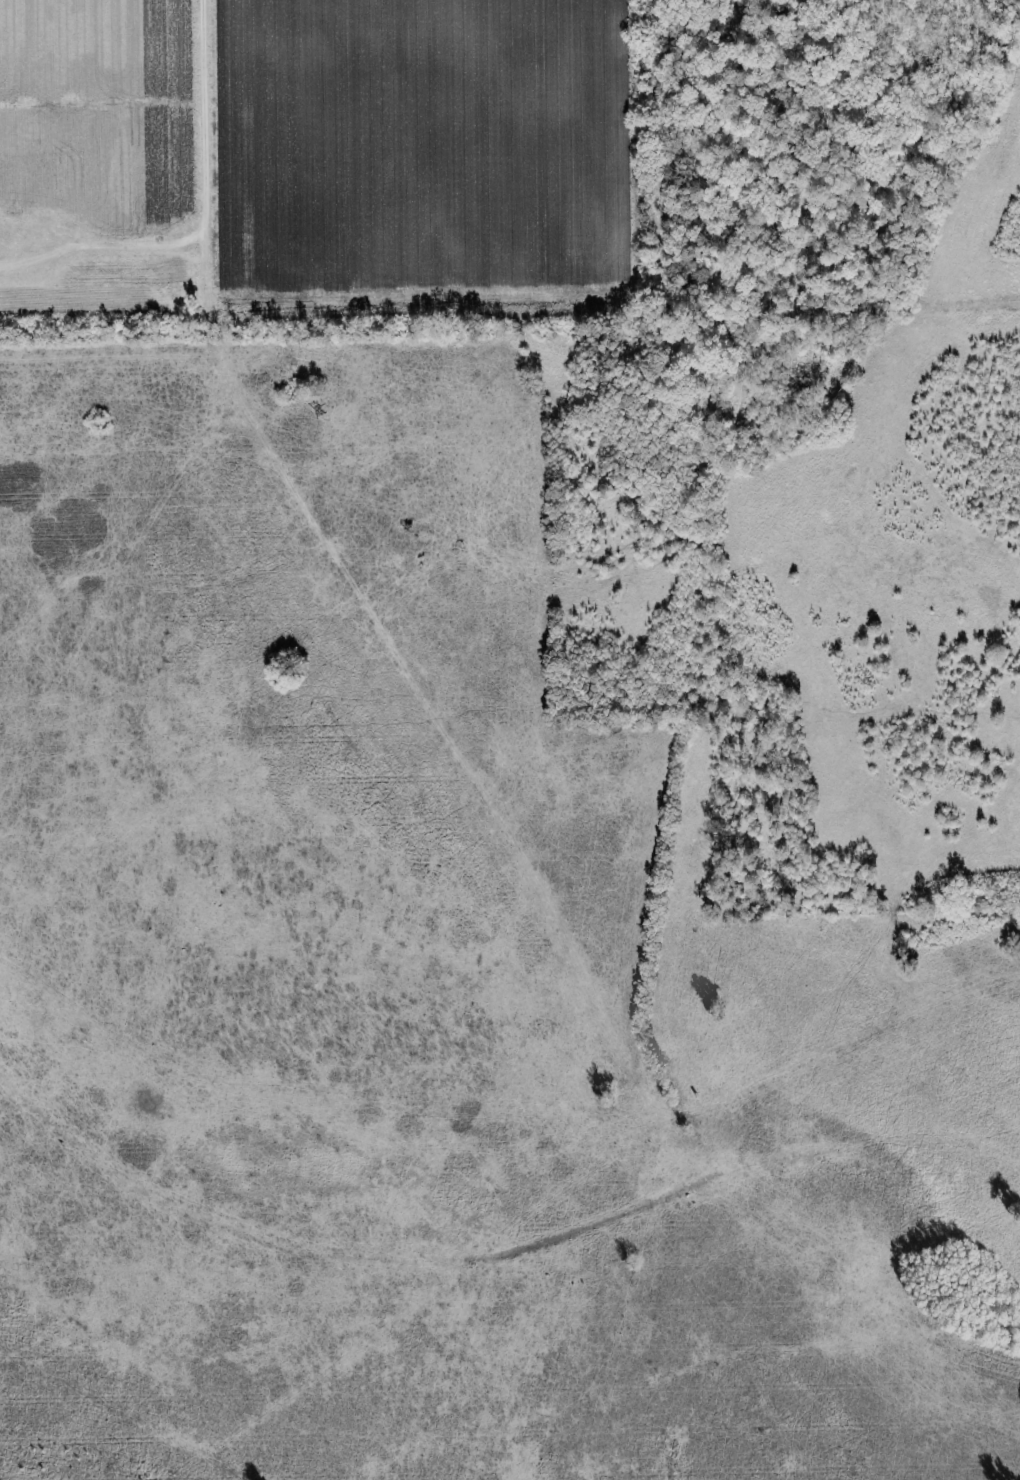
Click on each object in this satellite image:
road: (212, 163)
road: (510, 320)

